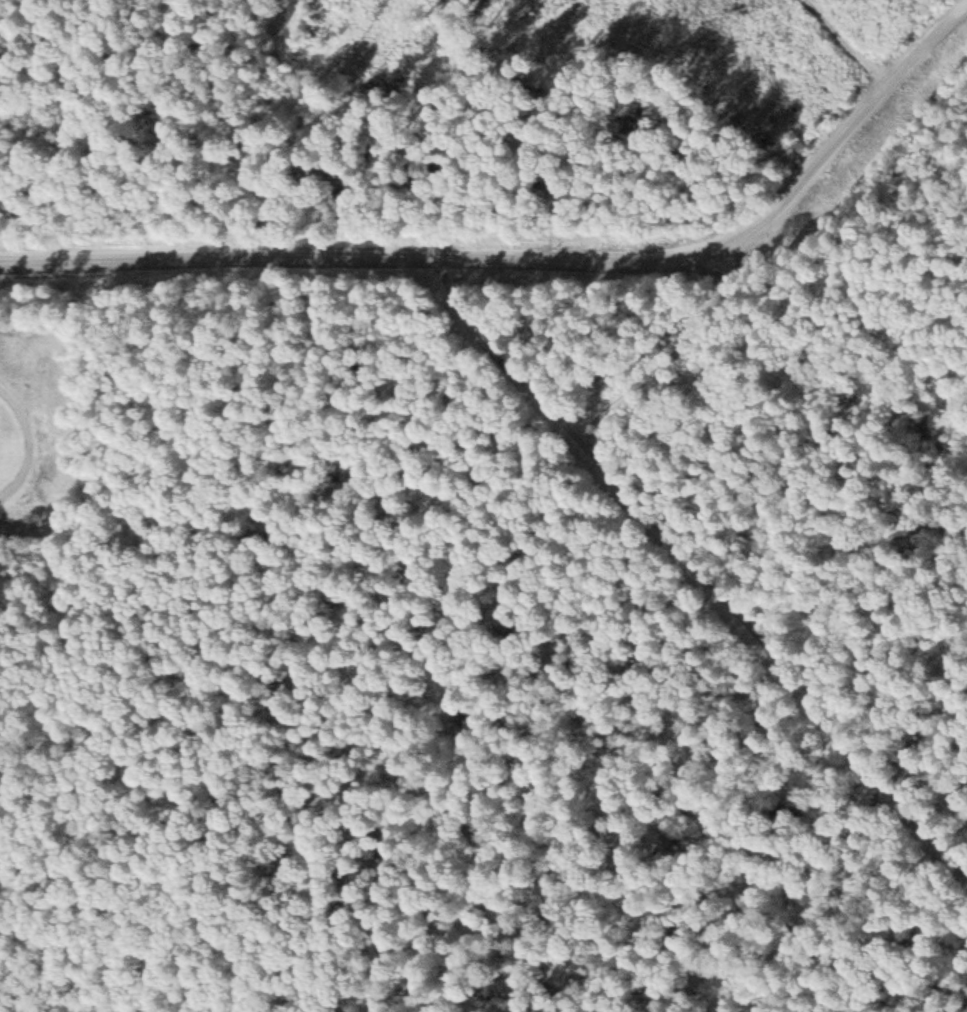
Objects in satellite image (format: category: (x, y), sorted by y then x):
road: (536, 260)

